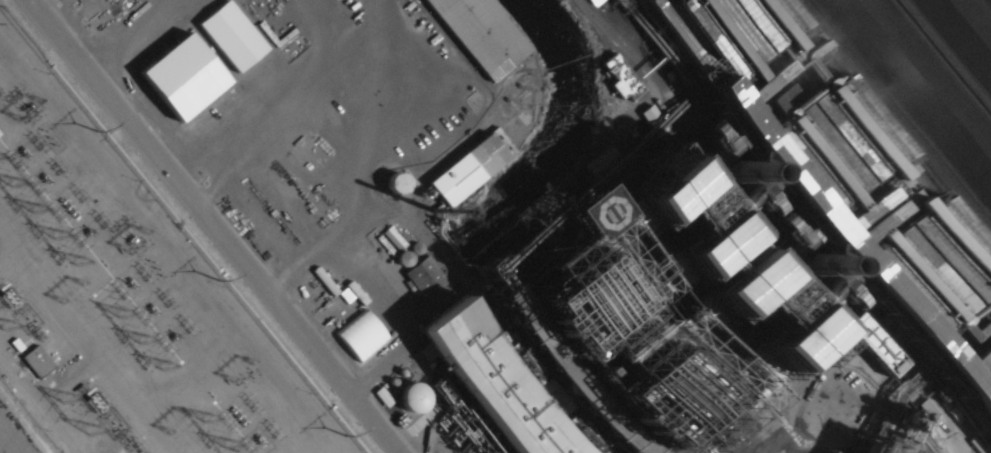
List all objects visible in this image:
building: (98, 16)
building: (471, 35)
building: (281, 70)
building: (463, 169)
chimney: (750, 172)
building: (850, 172)
building: (391, 183)
storage tank: (391, 183)
building: (292, 196)
road: (214, 226)
power plant: (495, 226)
chimney: (827, 266)
building: (426, 276)
power substation: (127, 292)
building: (648, 317)
building: (876, 347)
building: (38, 361)
building: (410, 398)
storage tank: (410, 398)
building: (865, 448)

